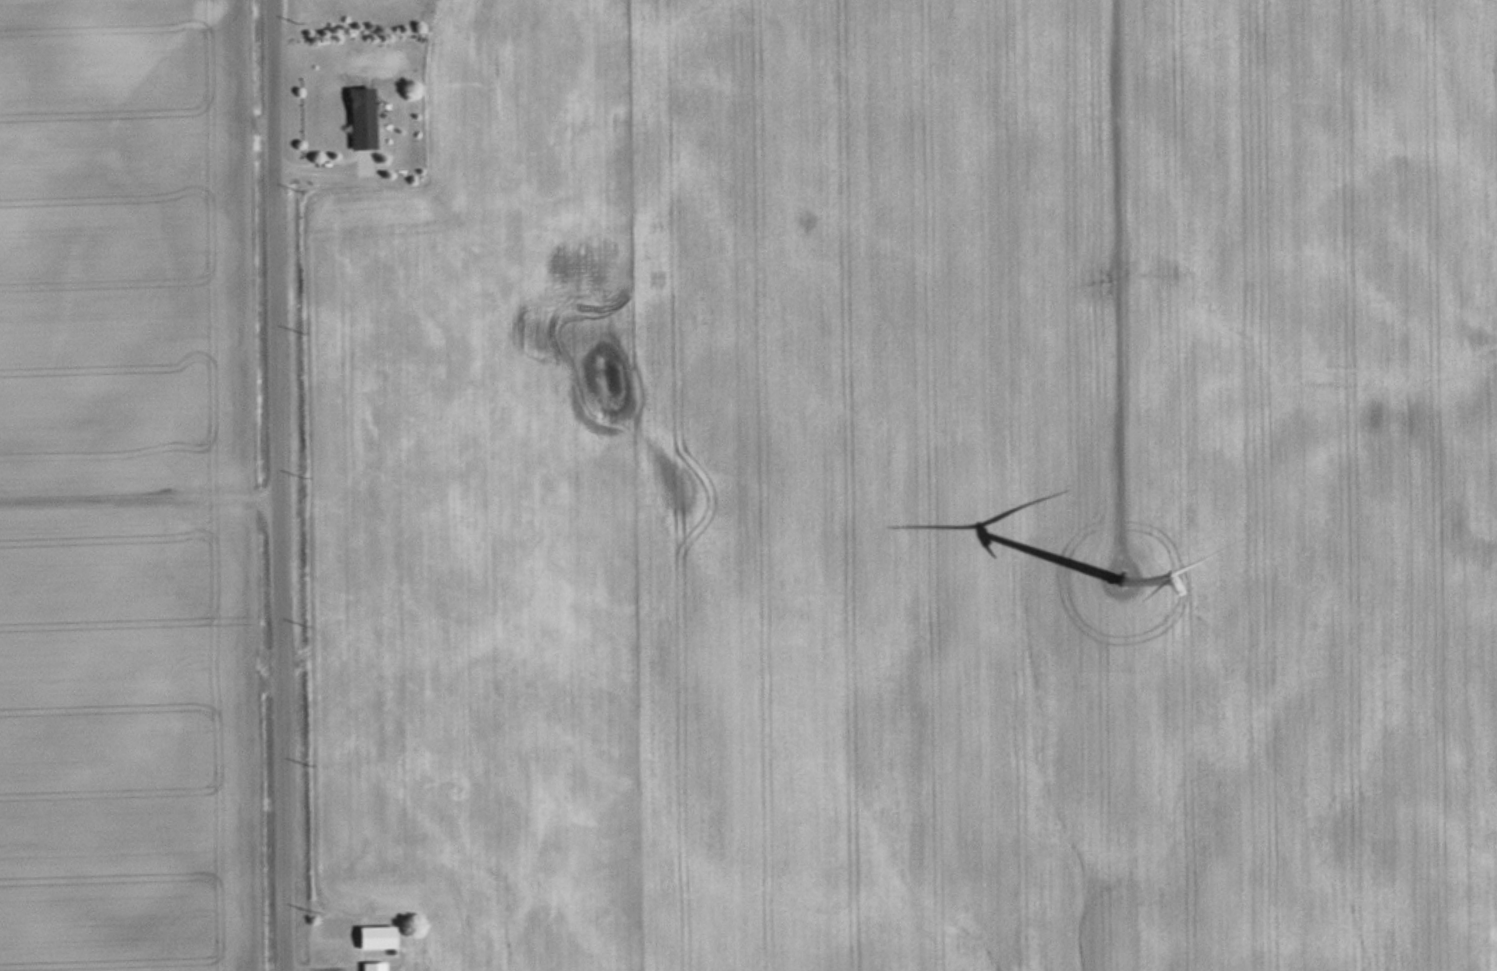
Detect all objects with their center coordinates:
building: (354, 118)
road: (1117, 275)
road: (276, 485)
road: (138, 502)
wind turbine: (1124, 582)
building: (369, 937)
building: (367, 966)

